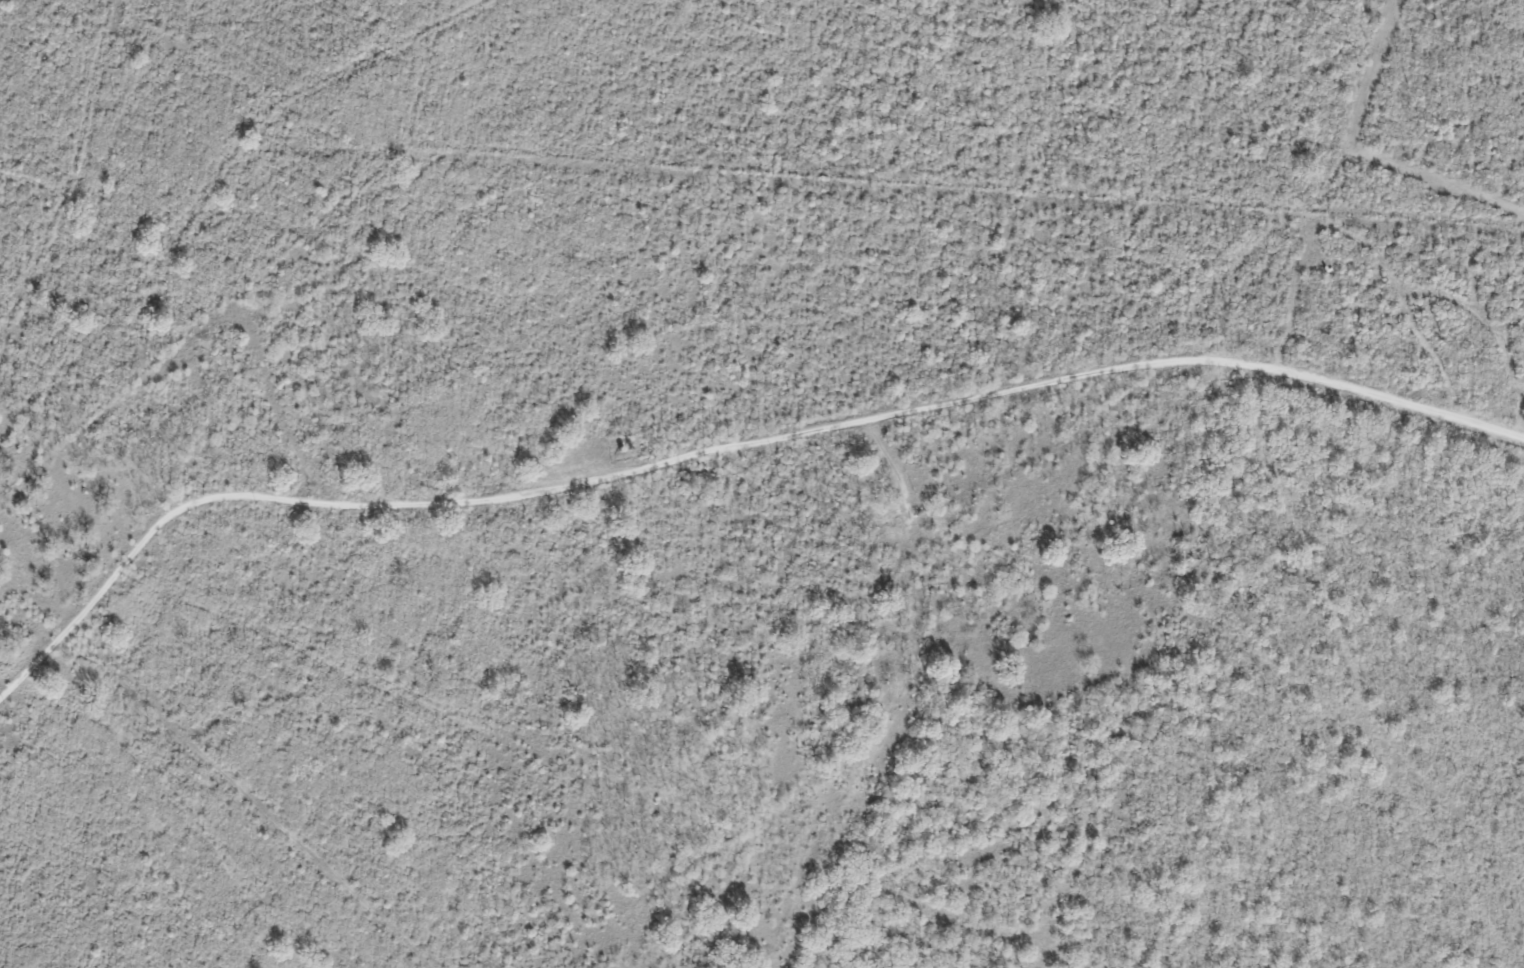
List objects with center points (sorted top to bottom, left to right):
road: (727, 449)
road: (248, 796)

